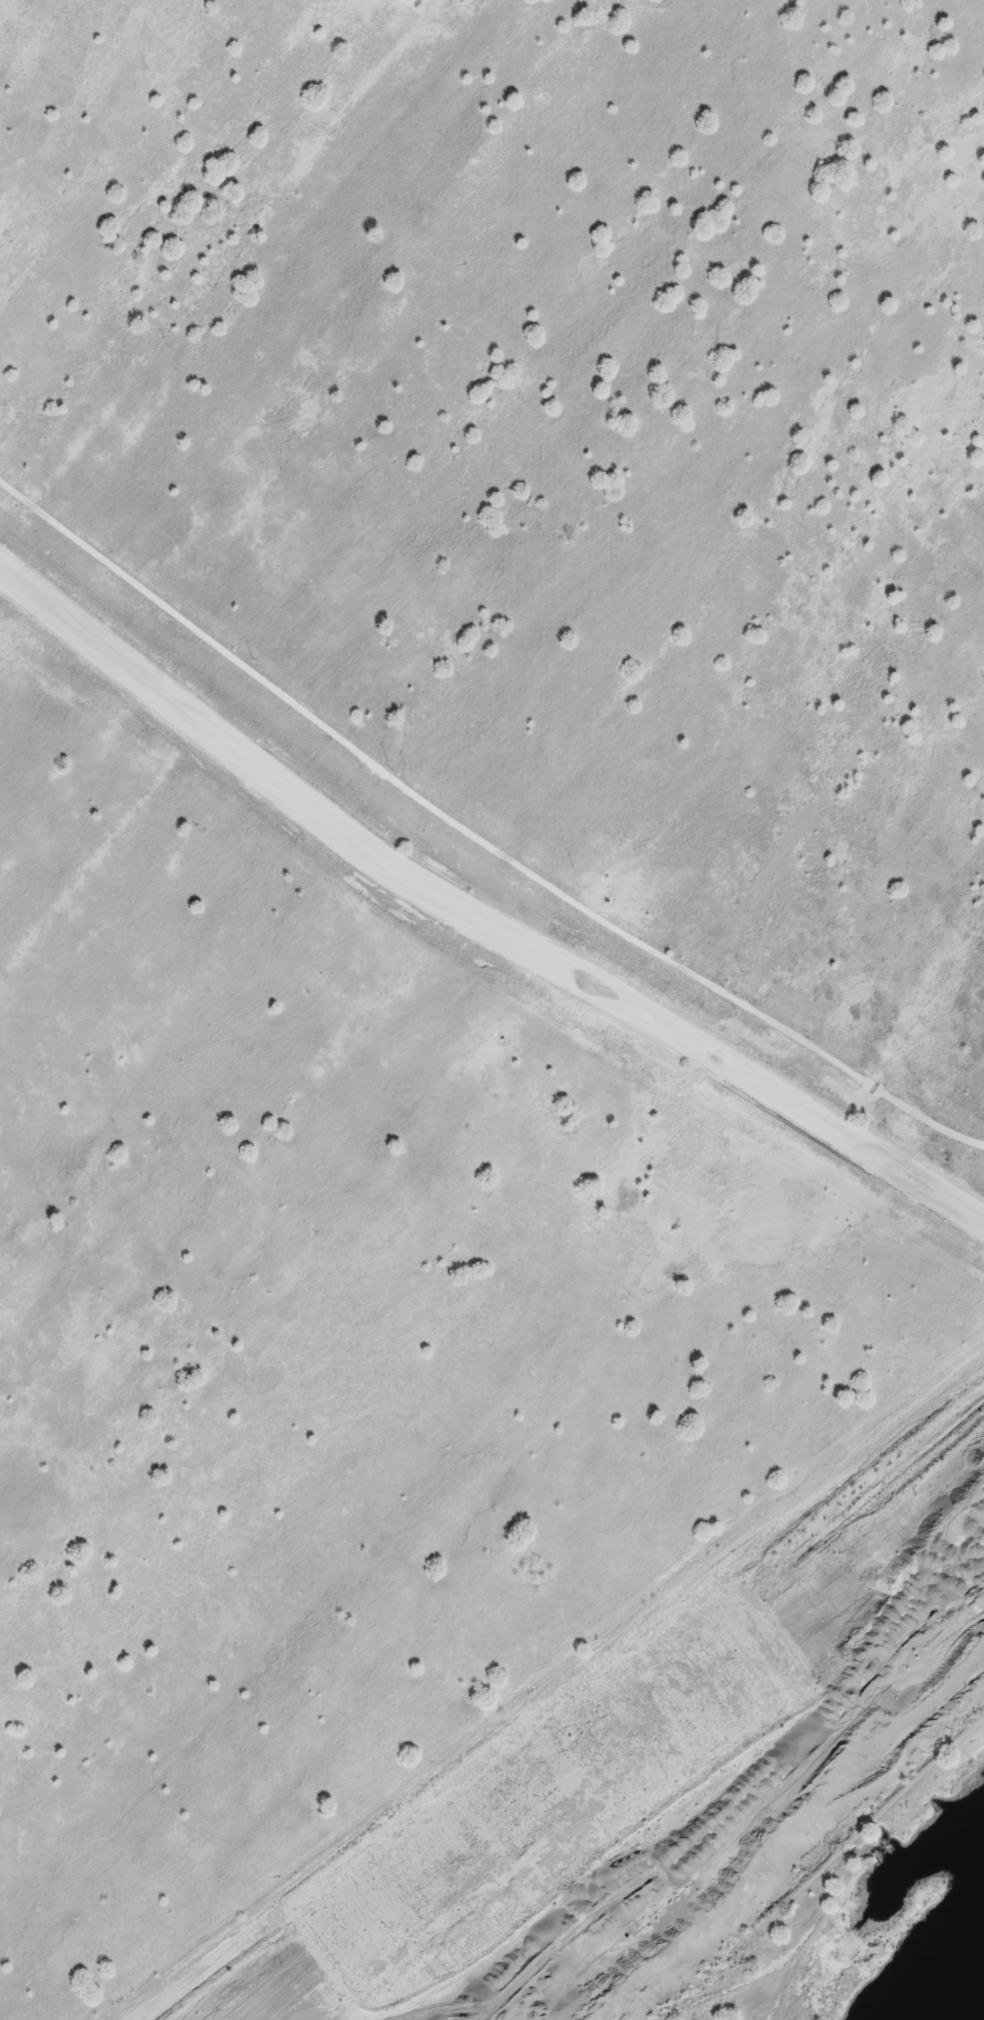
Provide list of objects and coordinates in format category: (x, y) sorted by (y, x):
road: (479, 826)
quarry: (492, 1010)

